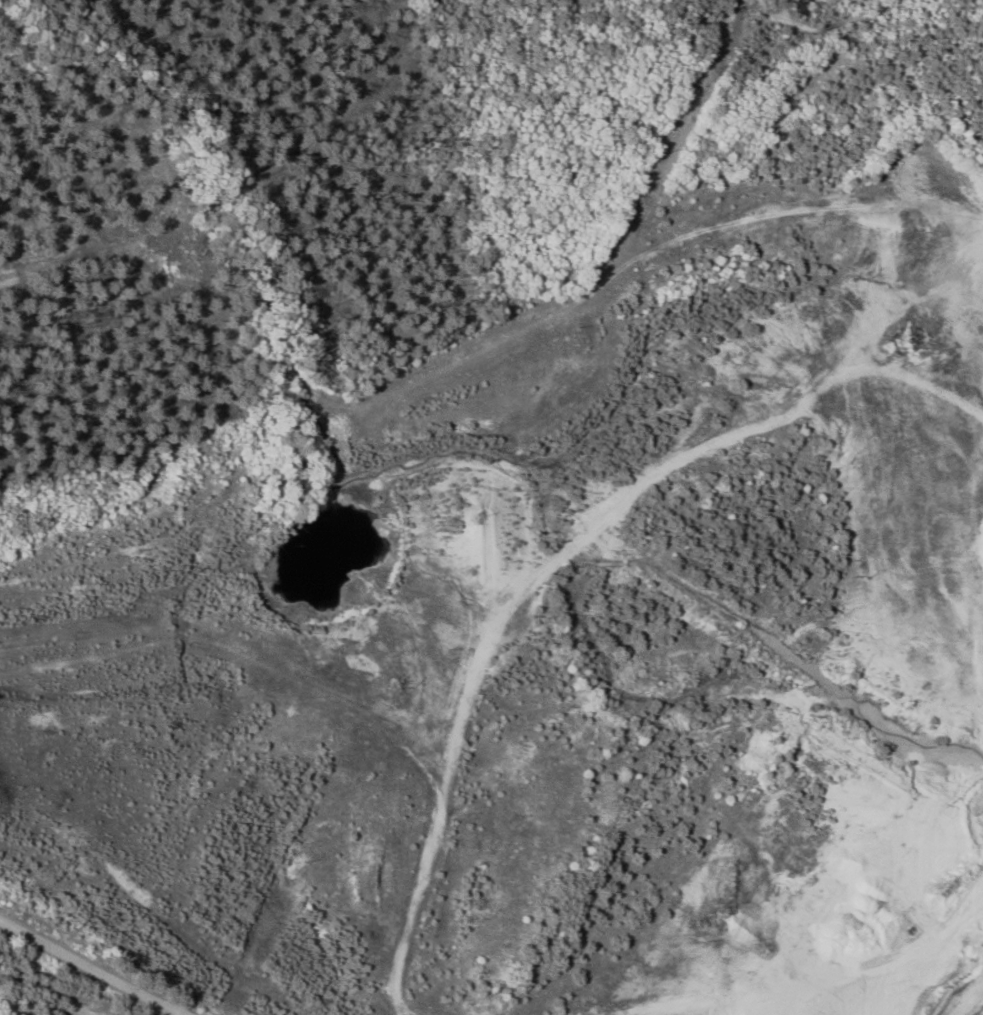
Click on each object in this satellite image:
road: (91, 968)

